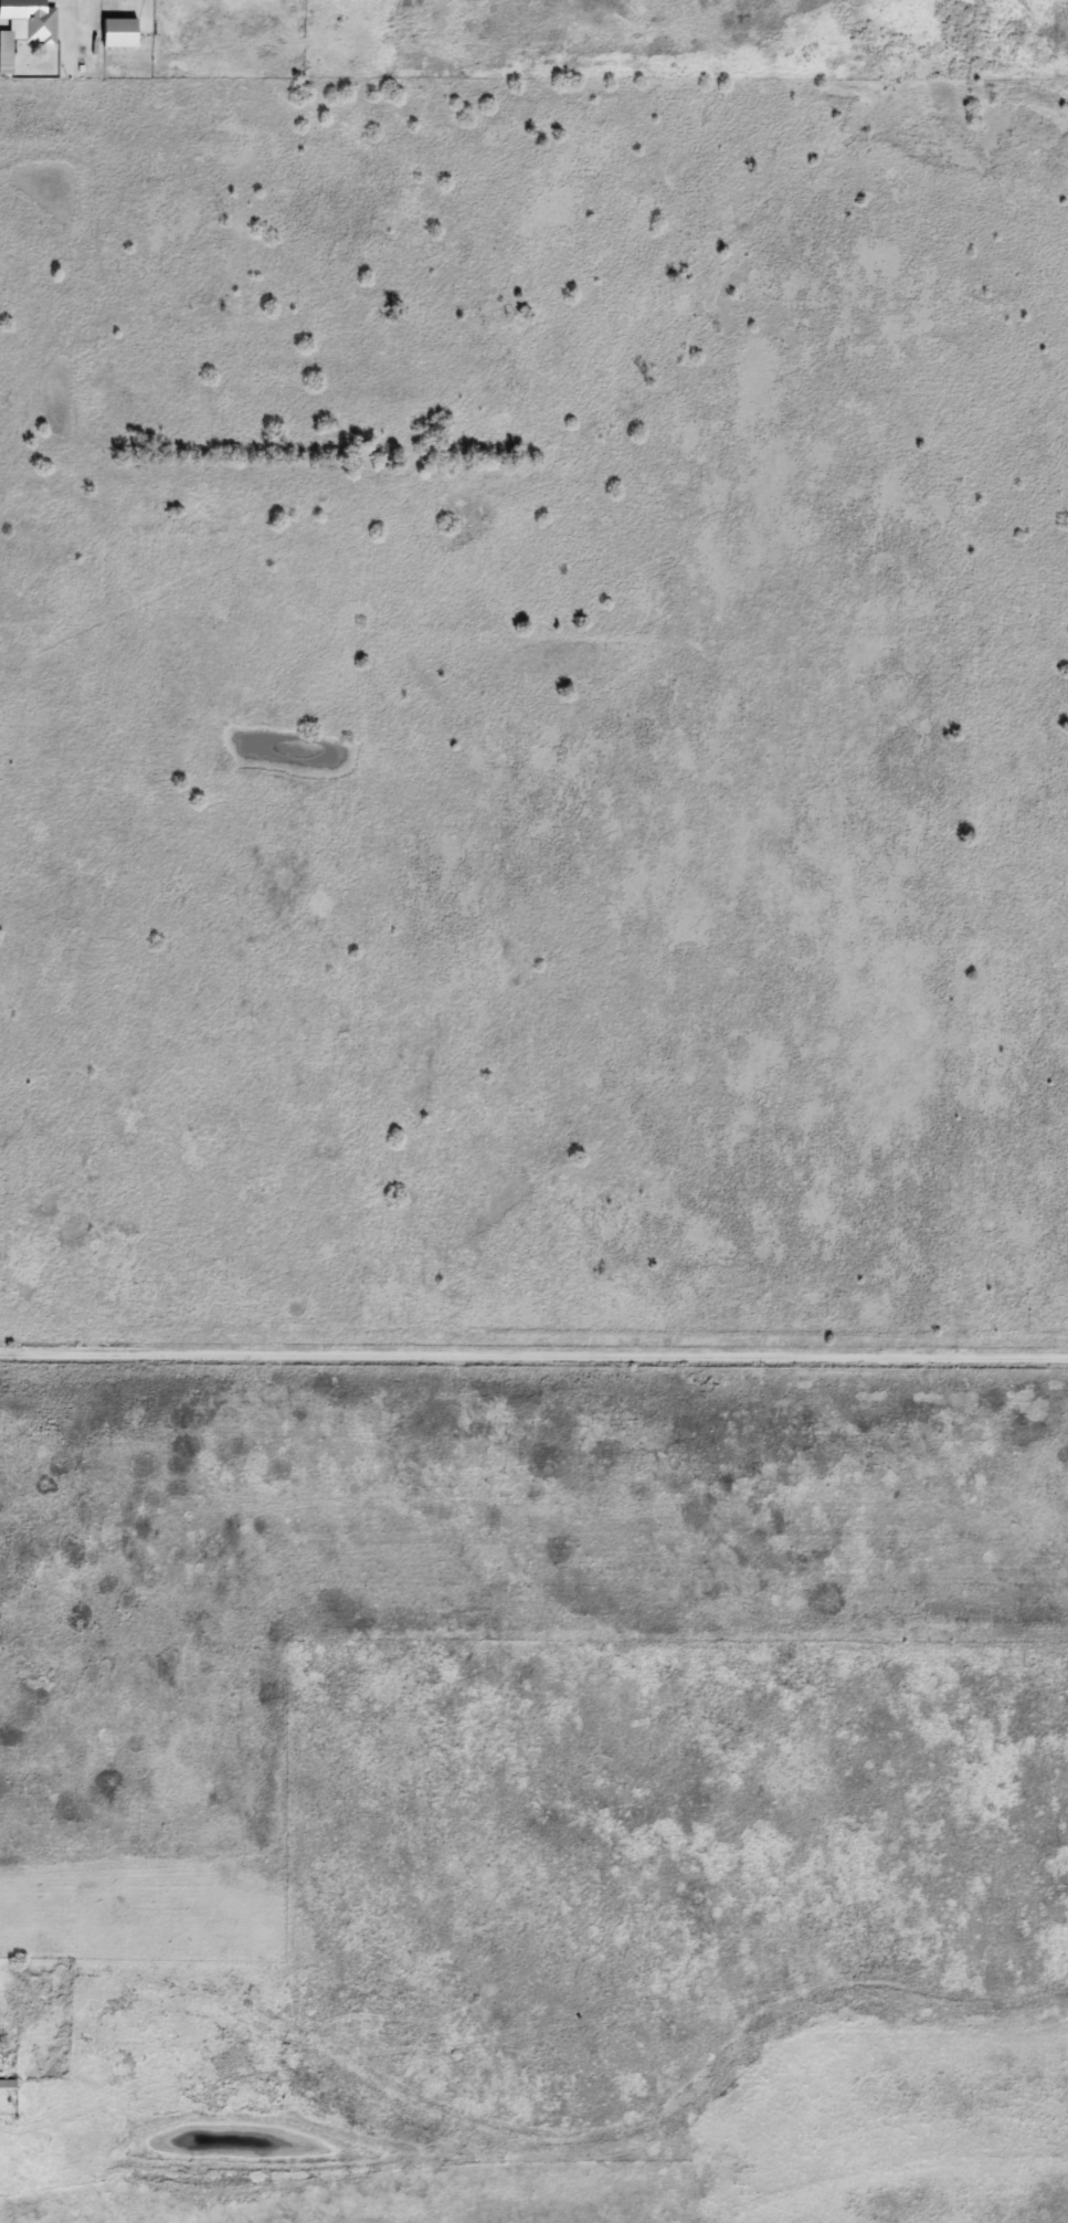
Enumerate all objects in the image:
building: (29, 20)
building: (3, 52)
road: (533, 1356)
building: (6, 2084)

